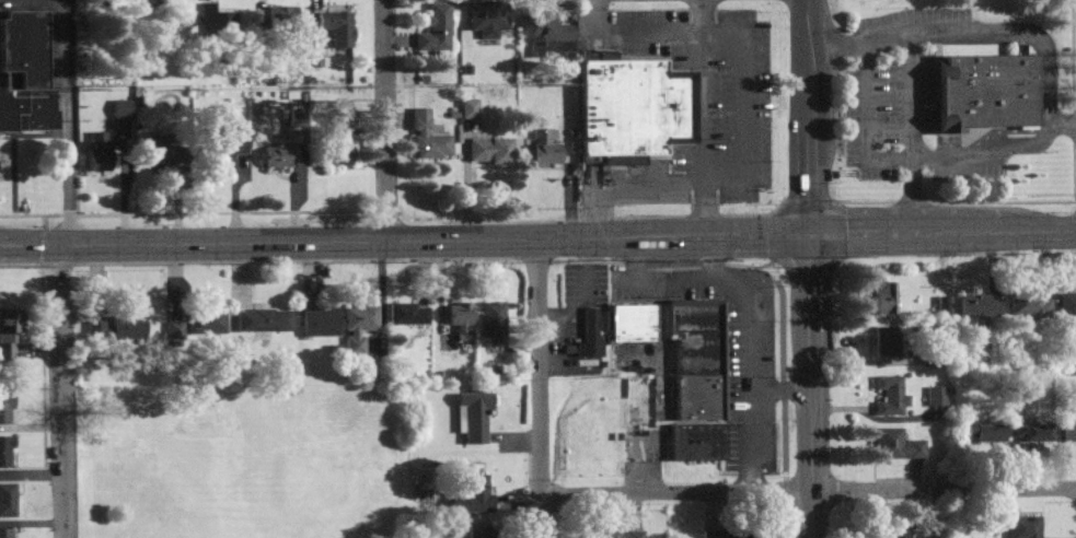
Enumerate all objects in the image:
building: (151, 2)
parking lot: (34, 4)
building: (487, 17)
parking lot: (911, 17)
building: (216, 21)
building: (275, 23)
building: (336, 26)
building: (436, 30)
road: (630, 32)
road: (964, 32)
building: (548, 34)
road: (807, 60)
building: (25, 70)
parking lot: (714, 89)
building: (983, 90)
road: (1072, 101)
road: (745, 102)
building: (118, 107)
building: (464, 107)
building: (630, 107)
road: (703, 117)
road: (384, 119)
road: (71, 122)
parking lot: (900, 122)
road: (907, 133)
building: (427, 137)
building: (338, 143)
building: (222, 147)
building: (543, 148)
building: (489, 149)
road: (998, 150)
building: (96, 151)
building: (163, 151)
building: (277, 154)
road: (808, 177)
road: (624, 184)
road: (537, 220)
road: (41, 221)
road: (1041, 230)
road: (963, 232)
road: (864, 233)
road: (739, 235)
road: (334, 241)
road: (37, 245)
road: (447, 258)
road: (377, 259)
road: (529, 259)
road: (223, 260)
road: (583, 260)
road: (55, 264)
road: (18, 265)
road: (709, 265)
road: (748, 265)
road: (632, 266)
road: (670, 267)
road: (810, 279)
parking lot: (586, 284)
road: (583, 292)
building: (883, 296)
building: (938, 305)
building: (977, 305)
building: (1030, 305)
building: (1066, 305)
building: (407, 312)
building: (694, 316)
building: (460, 318)
building: (263, 319)
building: (320, 320)
building: (632, 321)
building: (491, 323)
building: (195, 325)
building: (116, 326)
building: (358, 326)
building: (9, 331)
building: (591, 331)
building: (886, 339)
road: (745, 349)
parking lot: (729, 350)
building: (698, 353)
road: (783, 373)
building: (433, 376)
road: (42, 378)
road: (537, 387)
road: (779, 388)
road: (58, 390)
building: (890, 395)
building: (698, 396)
building: (936, 396)
building: (5, 408)
building: (471, 417)
building: (1068, 430)
road: (812, 431)
building: (984, 432)
building: (1031, 432)
building: (696, 441)
building: (894, 443)
building: (5, 451)
park: (245, 463)
road: (807, 489)
building: (472, 494)
building: (7, 499)
building: (1023, 528)
building: (479, 530)
building: (893, 530)
building: (616, 531)
building: (7, 533)
building: (725, 534)

